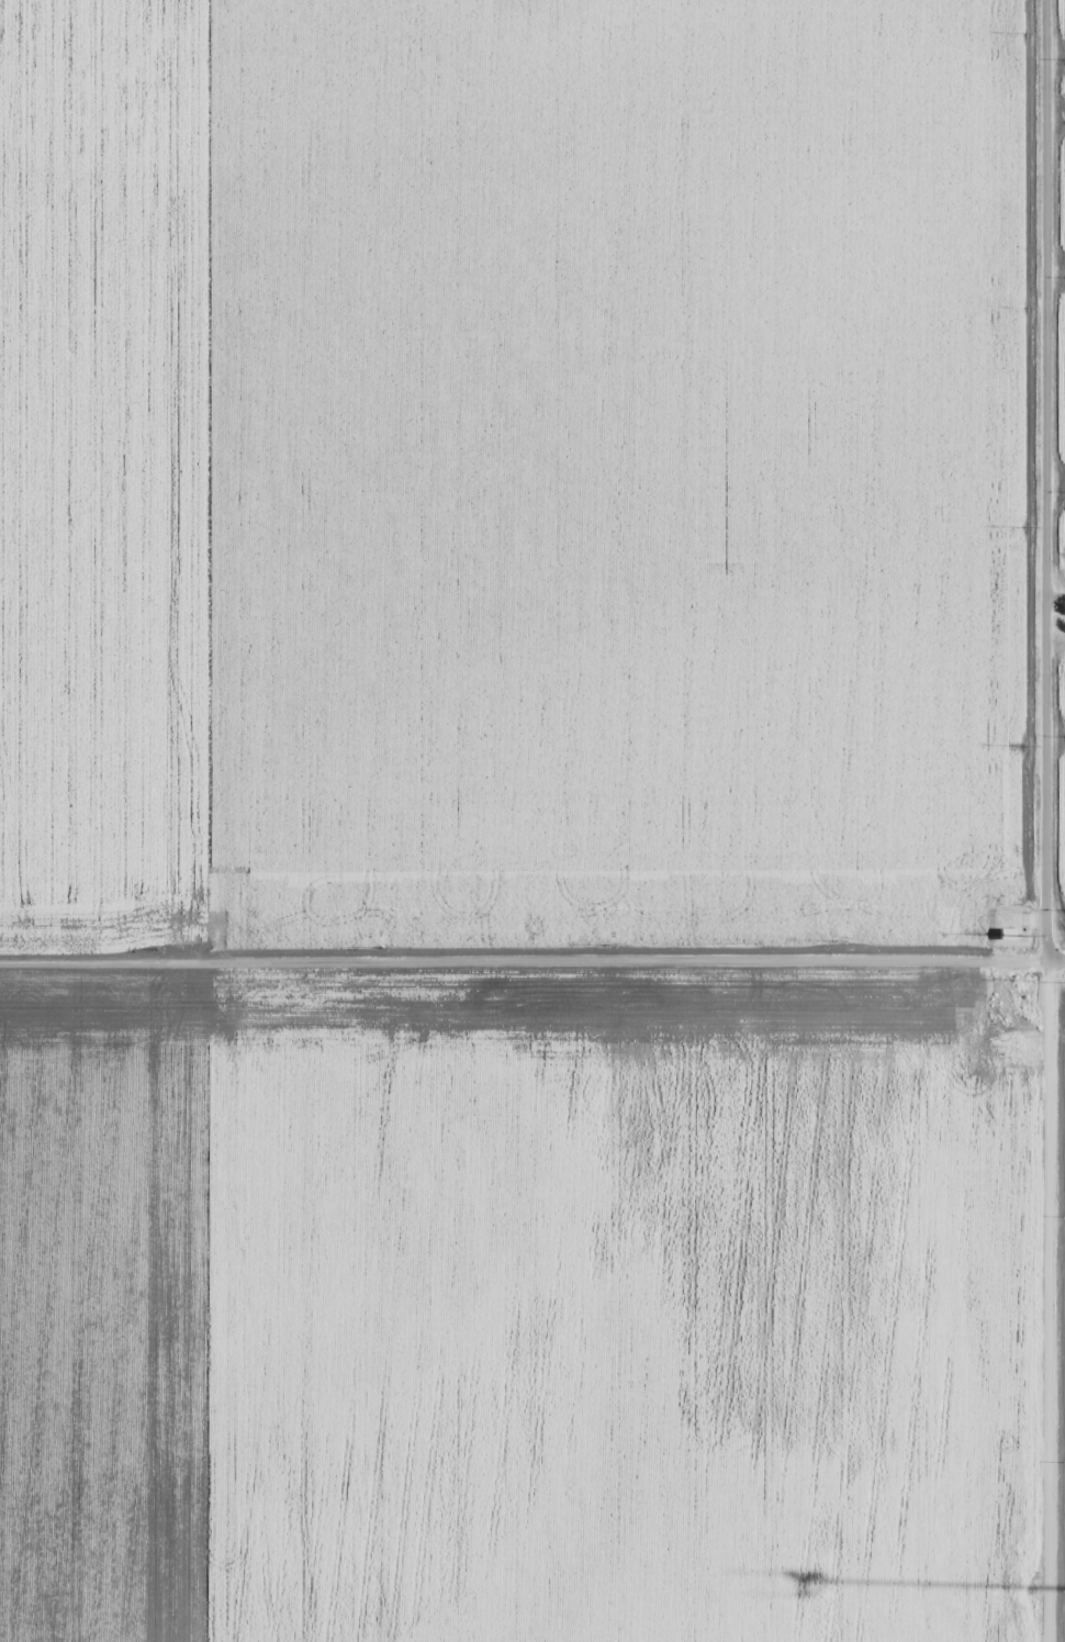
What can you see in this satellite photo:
crop: (1058, 23)
power tower: (1030, 33)
crop: (1060, 93)
crop: (1058, 199)
power tower: (1028, 306)
crop: (1061, 382)
power tower: (1027, 527)
crop: (1060, 539)
crop: (1060, 689)
power tower: (1023, 746)
road: (1044, 820)
crop: (1060, 820)
power substation: (1009, 925)
building: (1006, 932)
power tower: (1020, 935)
power tower: (832, 940)
power tower: (604, 942)
power tower: (158, 948)
power tower: (381, 948)
road: (532, 961)

